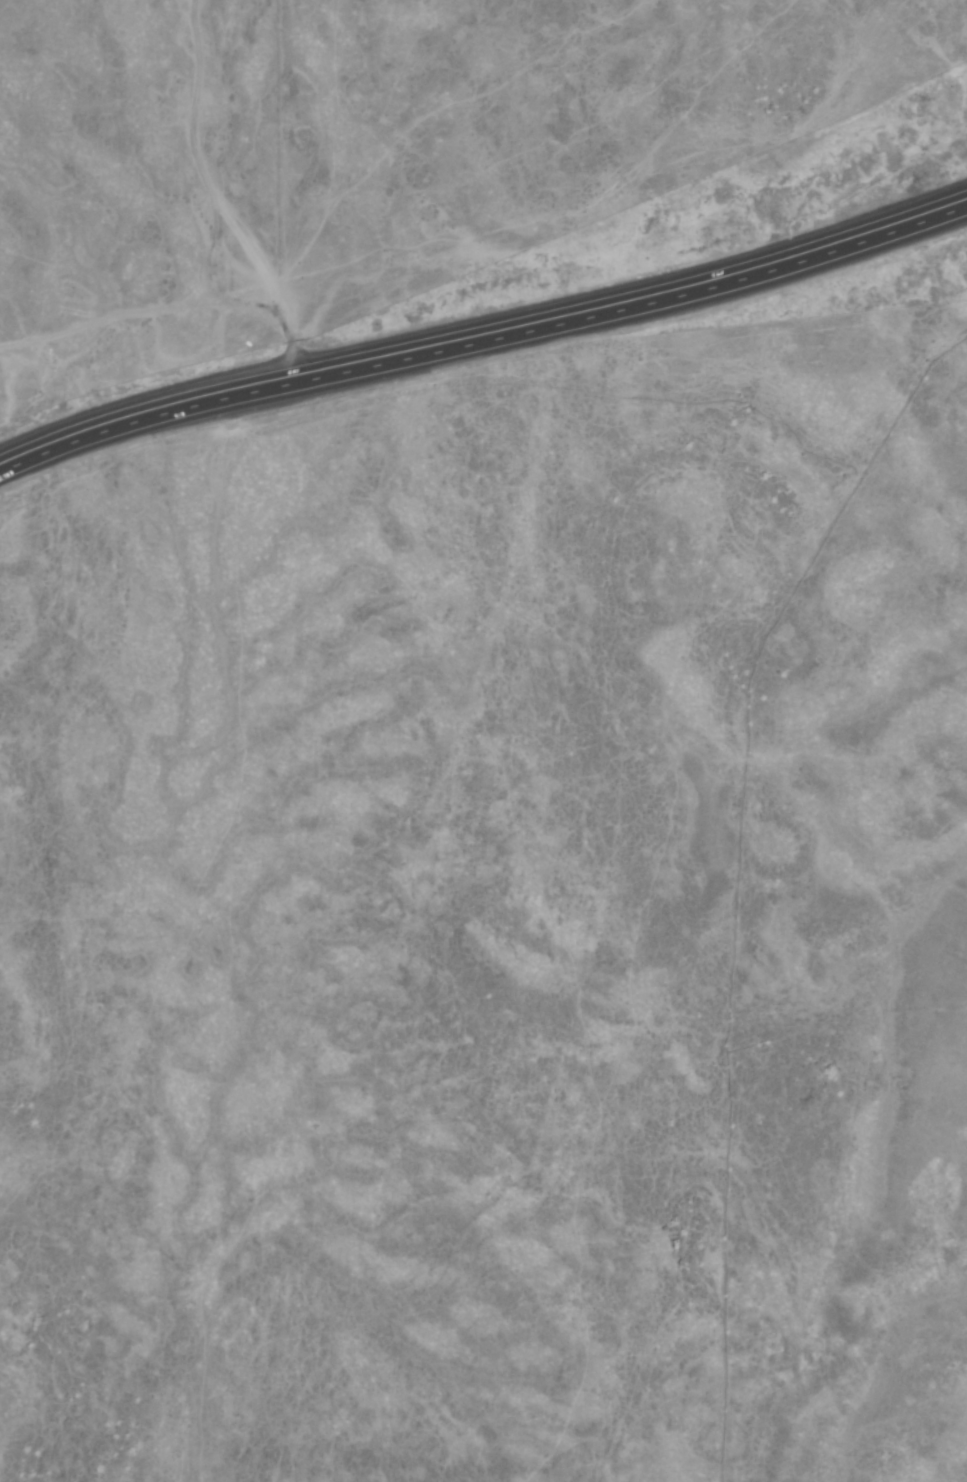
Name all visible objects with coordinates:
road: (483, 340)

